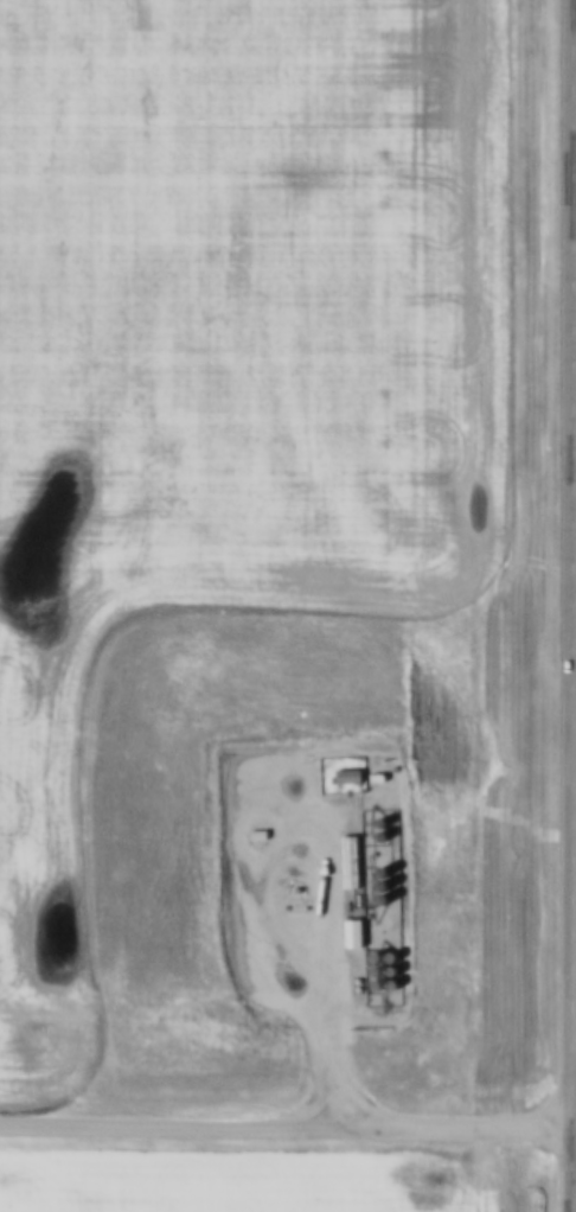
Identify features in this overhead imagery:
road: (575, 606)
building: (354, 772)
building: (354, 857)
building: (385, 866)
storage tank: (385, 866)
building: (385, 880)
storage tank: (385, 880)
building: (386, 893)
storage tank: (386, 893)
building: (358, 929)
road: (296, 932)
building: (396, 951)
storage tank: (396, 951)
building: (379, 952)
storage tank: (379, 952)
building: (380, 965)
storage tank: (380, 965)
building: (396, 965)
storage tank: (396, 965)
building: (380, 978)
storage tank: (380, 978)
building: (397, 978)
storage tank: (397, 978)
road: (287, 1127)

